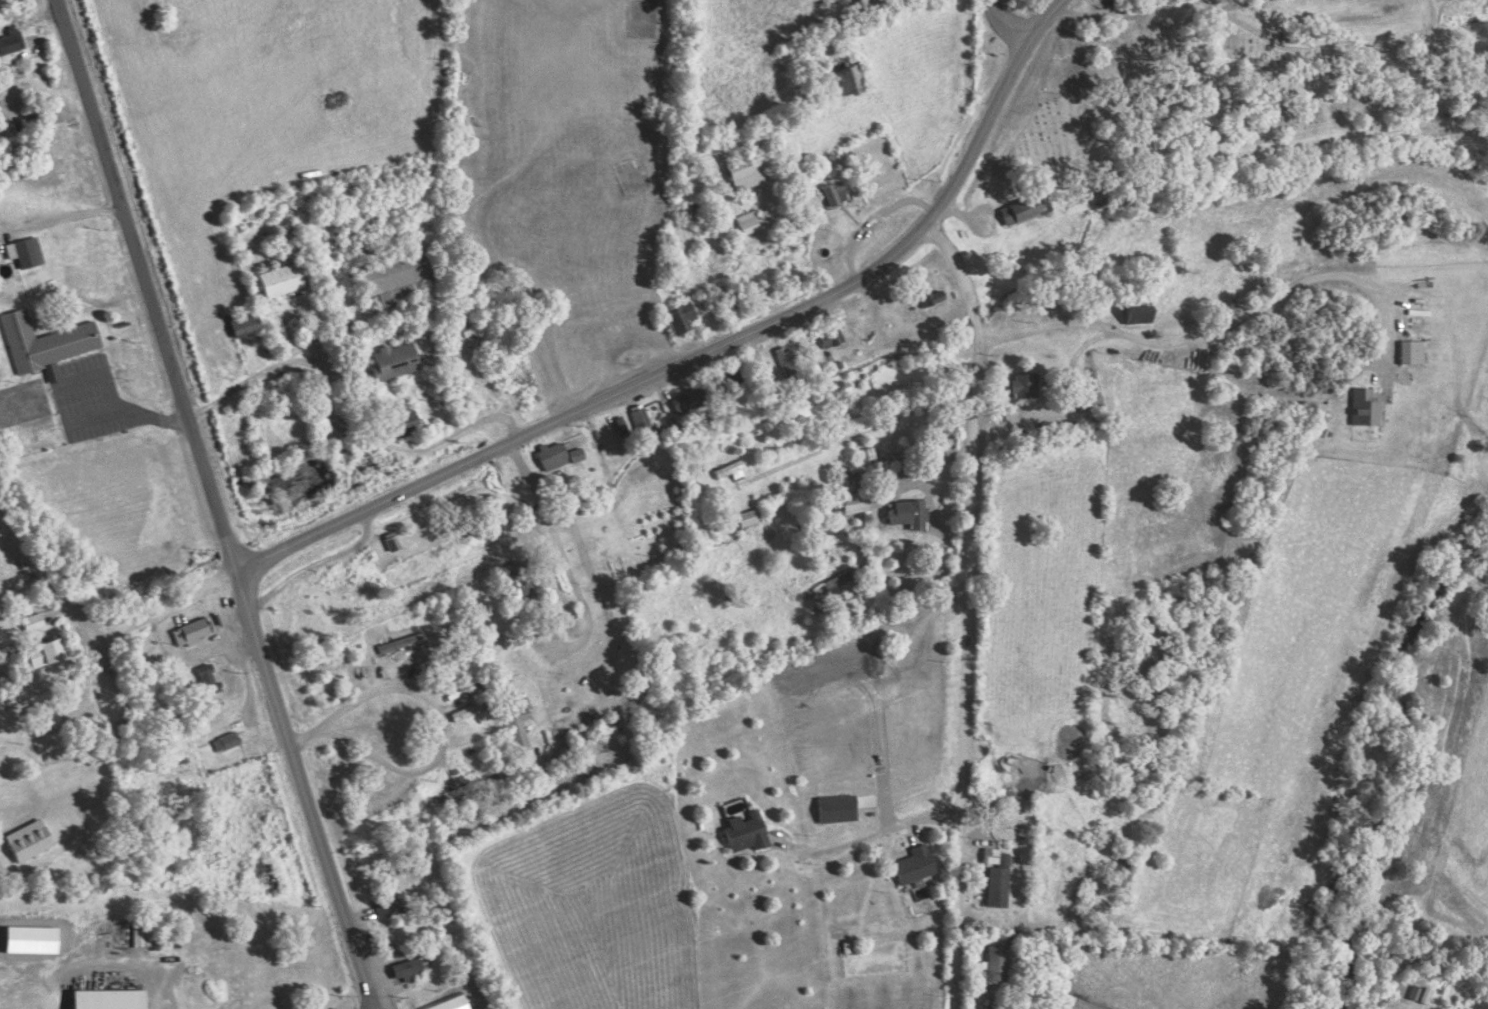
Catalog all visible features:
road: (1198, 1)
road: (1118, 11)
road: (1001, 29)
building: (11, 39)
road: (1320, 50)
building: (857, 72)
park: (1246, 89)
building: (835, 193)
building: (1024, 209)
building: (756, 219)
road: (70, 220)
road: (875, 223)
road: (501, 240)
building: (26, 251)
building: (284, 279)
road: (150, 289)
building: (935, 296)
building: (1142, 311)
building: (683, 316)
building: (246, 322)
road: (1224, 328)
building: (46, 343)
road: (711, 346)
building: (1414, 352)
building: (397, 360)
building: (790, 360)
building: (692, 400)
building: (1366, 407)
building: (642, 417)
road: (865, 432)
road: (458, 433)
building: (579, 454)
building: (555, 455)
building: (731, 469)
building: (857, 504)
building: (908, 513)
building: (750, 517)
building: (523, 579)
building: (841, 587)
road: (594, 599)
road: (976, 607)
road: (121, 618)
building: (34, 621)
building: (193, 631)
building: (48, 653)
building: (209, 678)
building: (469, 711)
road: (433, 715)
building: (523, 732)
building: (226, 741)
road: (307, 793)
building: (748, 831)
road: (873, 834)
building: (916, 864)
building: (1000, 882)
building: (392, 906)
building: (33, 939)
road: (101, 962)
building: (997, 962)
building: (409, 969)
building: (111, 999)
building: (453, 1003)

